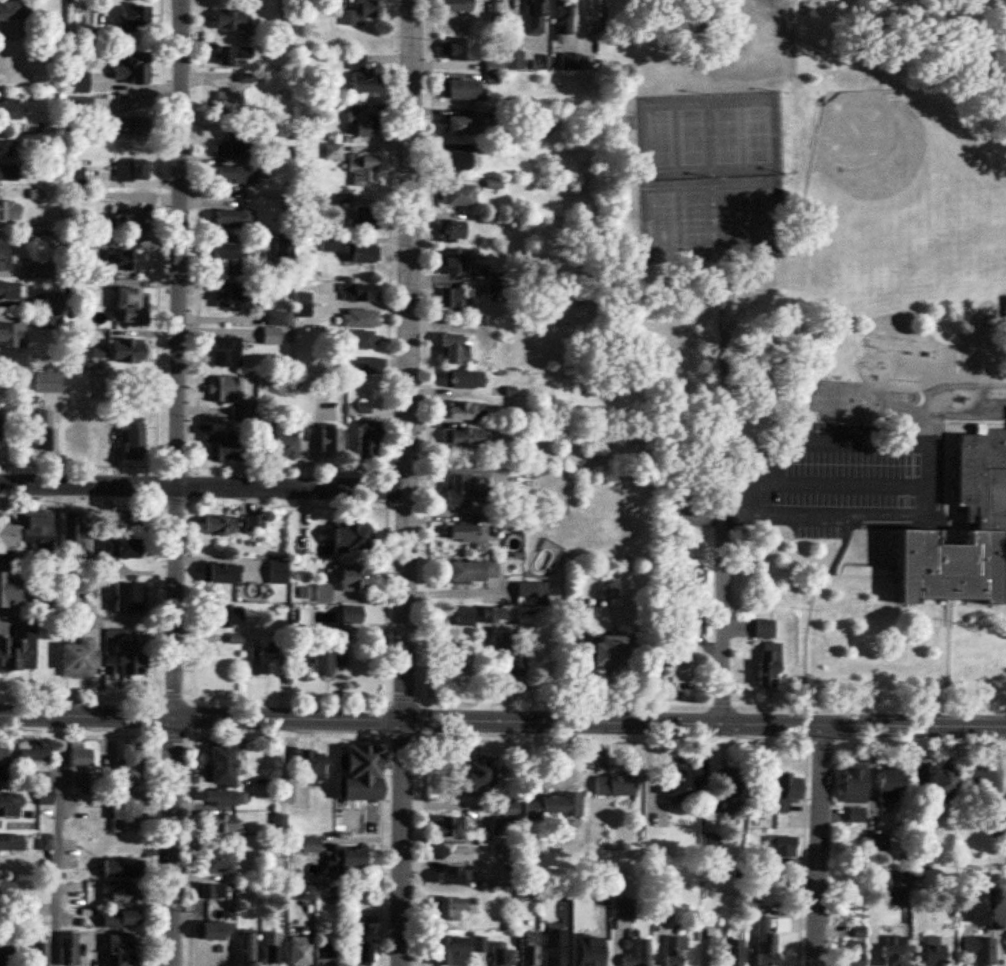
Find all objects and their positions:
building: (457, 5)
building: (14, 10)
building: (361, 12)
building: (563, 12)
building: (596, 16)
building: (535, 17)
building: (131, 18)
building: (231, 19)
road: (732, 33)
building: (458, 49)
building: (233, 55)
building: (514, 60)
building: (9, 61)
building: (570, 61)
building: (540, 63)
building: (131, 67)
building: (363, 75)
building: (78, 82)
building: (464, 89)
building: (229, 101)
building: (9, 110)
building: (363, 124)
building: (461, 125)
building: (130, 126)
park: (761, 133)
park: (726, 134)
park: (693, 135)
park: (656, 137)
building: (233, 144)
building: (4, 149)
building: (333, 151)
building: (459, 160)
building: (131, 170)
building: (363, 170)
building: (8, 173)
building: (235, 174)
building: (75, 177)
building: (457, 195)
building: (9, 210)
park: (764, 215)
park: (730, 216)
building: (365, 217)
park: (696, 217)
building: (233, 218)
park: (658, 219)
building: (131, 222)
building: (453, 229)
building: (329, 244)
building: (284, 246)
building: (364, 252)
building: (4, 254)
building: (227, 256)
building: (452, 261)
building: (126, 262)
building: (41, 268)
building: (15, 290)
building: (359, 292)
building: (233, 297)
building: (452, 299)
building: (53, 300)
building: (129, 305)
building: (359, 318)
building: (12, 335)
building: (271, 336)
building: (360, 339)
building: (454, 349)
building: (127, 350)
building: (225, 352)
building: (465, 378)
building: (47, 381)
building: (225, 389)
building: (362, 407)
building: (466, 410)
building: (0, 415)
building: (45, 433)
building: (79, 436)
building: (464, 436)
building: (133, 438)
building: (330, 440)
building: (367, 441)
building: (284, 445)
building: (224, 449)
road: (179, 483)
road: (406, 483)
road: (203, 486)
road: (914, 486)
building: (462, 489)
building: (985, 516)
building: (122, 521)
building: (218, 525)
building: (255, 525)
building: (36, 530)
building: (72, 534)
building: (468, 534)
building: (873, 536)
building: (351, 537)
building: (7, 538)
building: (120, 548)
building: (473, 571)
building: (278, 572)
building: (220, 573)
building: (351, 576)
building: (8, 589)
building: (532, 593)
building: (127, 597)
building: (493, 613)
building: (222, 615)
building: (351, 615)
building: (465, 617)
building: (765, 629)
road: (721, 641)
building: (608, 651)
building: (17, 654)
building: (129, 656)
building: (508, 656)
building: (259, 657)
building: (77, 658)
building: (327, 661)
building: (769, 664)
building: (678, 670)
road: (503, 720)
building: (79, 756)
building: (3, 763)
building: (220, 763)
building: (34, 766)
building: (129, 766)
building: (311, 766)
building: (358, 772)
building: (473, 774)
building: (80, 779)
building: (886, 780)
building: (939, 781)
building: (672, 783)
building: (978, 783)
building: (612, 785)
building: (850, 785)
building: (725, 788)
building: (782, 791)
building: (44, 795)
building: (224, 797)
building: (9, 804)
building: (552, 807)
building: (513, 809)
building: (126, 812)
building: (220, 823)
building: (997, 826)
building: (446, 827)
building: (501, 827)
road: (56, 840)
building: (710, 840)
building: (11, 842)
road: (820, 843)
building: (875, 843)
building: (311, 845)
building: (779, 845)
building: (449, 853)
building: (751, 855)
building: (218, 859)
building: (345, 861)
building: (120, 868)
building: (448, 873)
building: (8, 889)
building: (211, 891)
building: (565, 892)
building: (597, 893)
building: (121, 894)
building: (334, 895)
building: (445, 907)
building: (662, 907)
building: (621, 908)
building: (994, 916)
building: (120, 918)
building: (705, 919)
building: (212, 931)
building: (761, 941)
building: (477, 943)
building: (0, 945)
building: (361, 945)
building: (527, 948)
building: (552, 948)
building: (68, 949)
building: (121, 949)
building: (247, 949)
building: (271, 949)
building: (671, 949)
building: (890, 950)
building: (981, 950)
building: (299, 951)
building: (446, 951)
building: (852, 951)
building: (935, 951)
building: (587, 952)
building: (732, 952)
building: (39, 954)
building: (498, 954)
building: (634, 954)
building: (324, 955)

